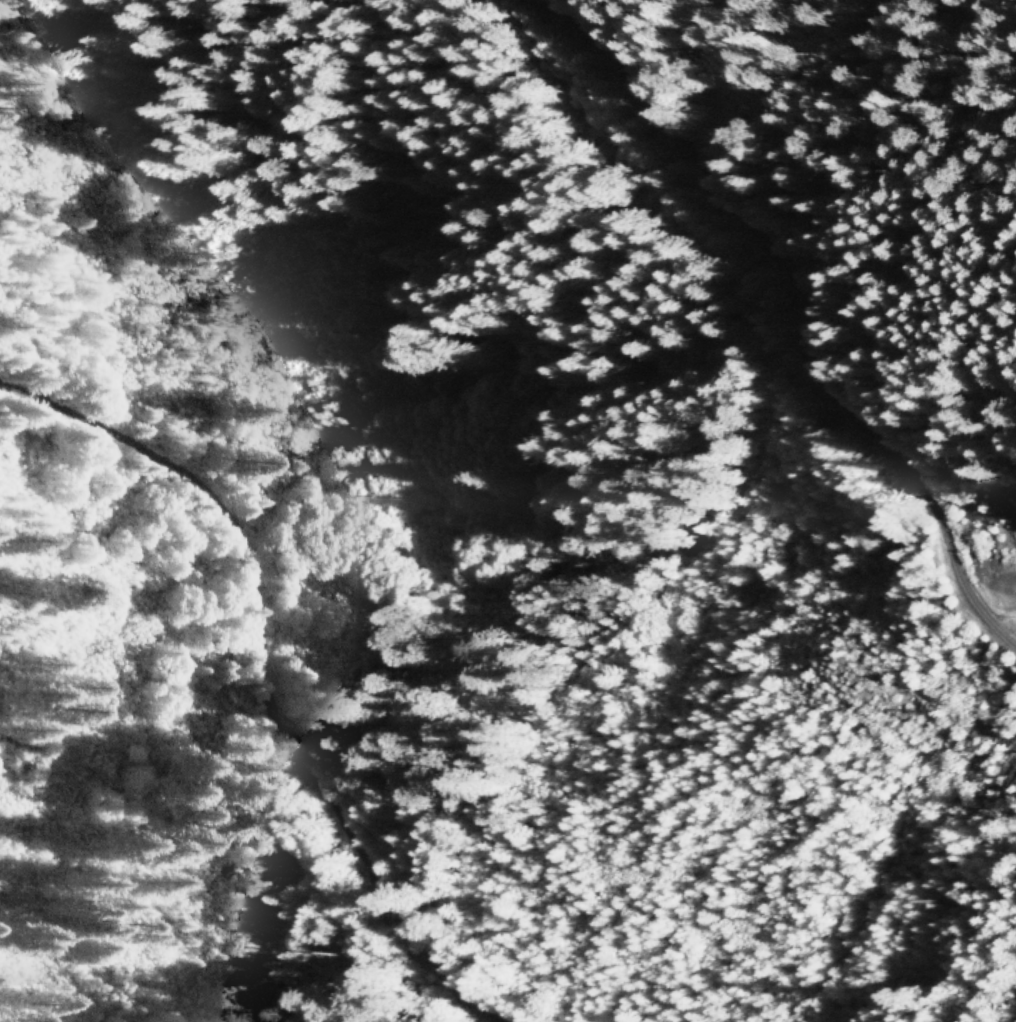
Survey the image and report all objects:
road: (782, 314)
road: (272, 669)

